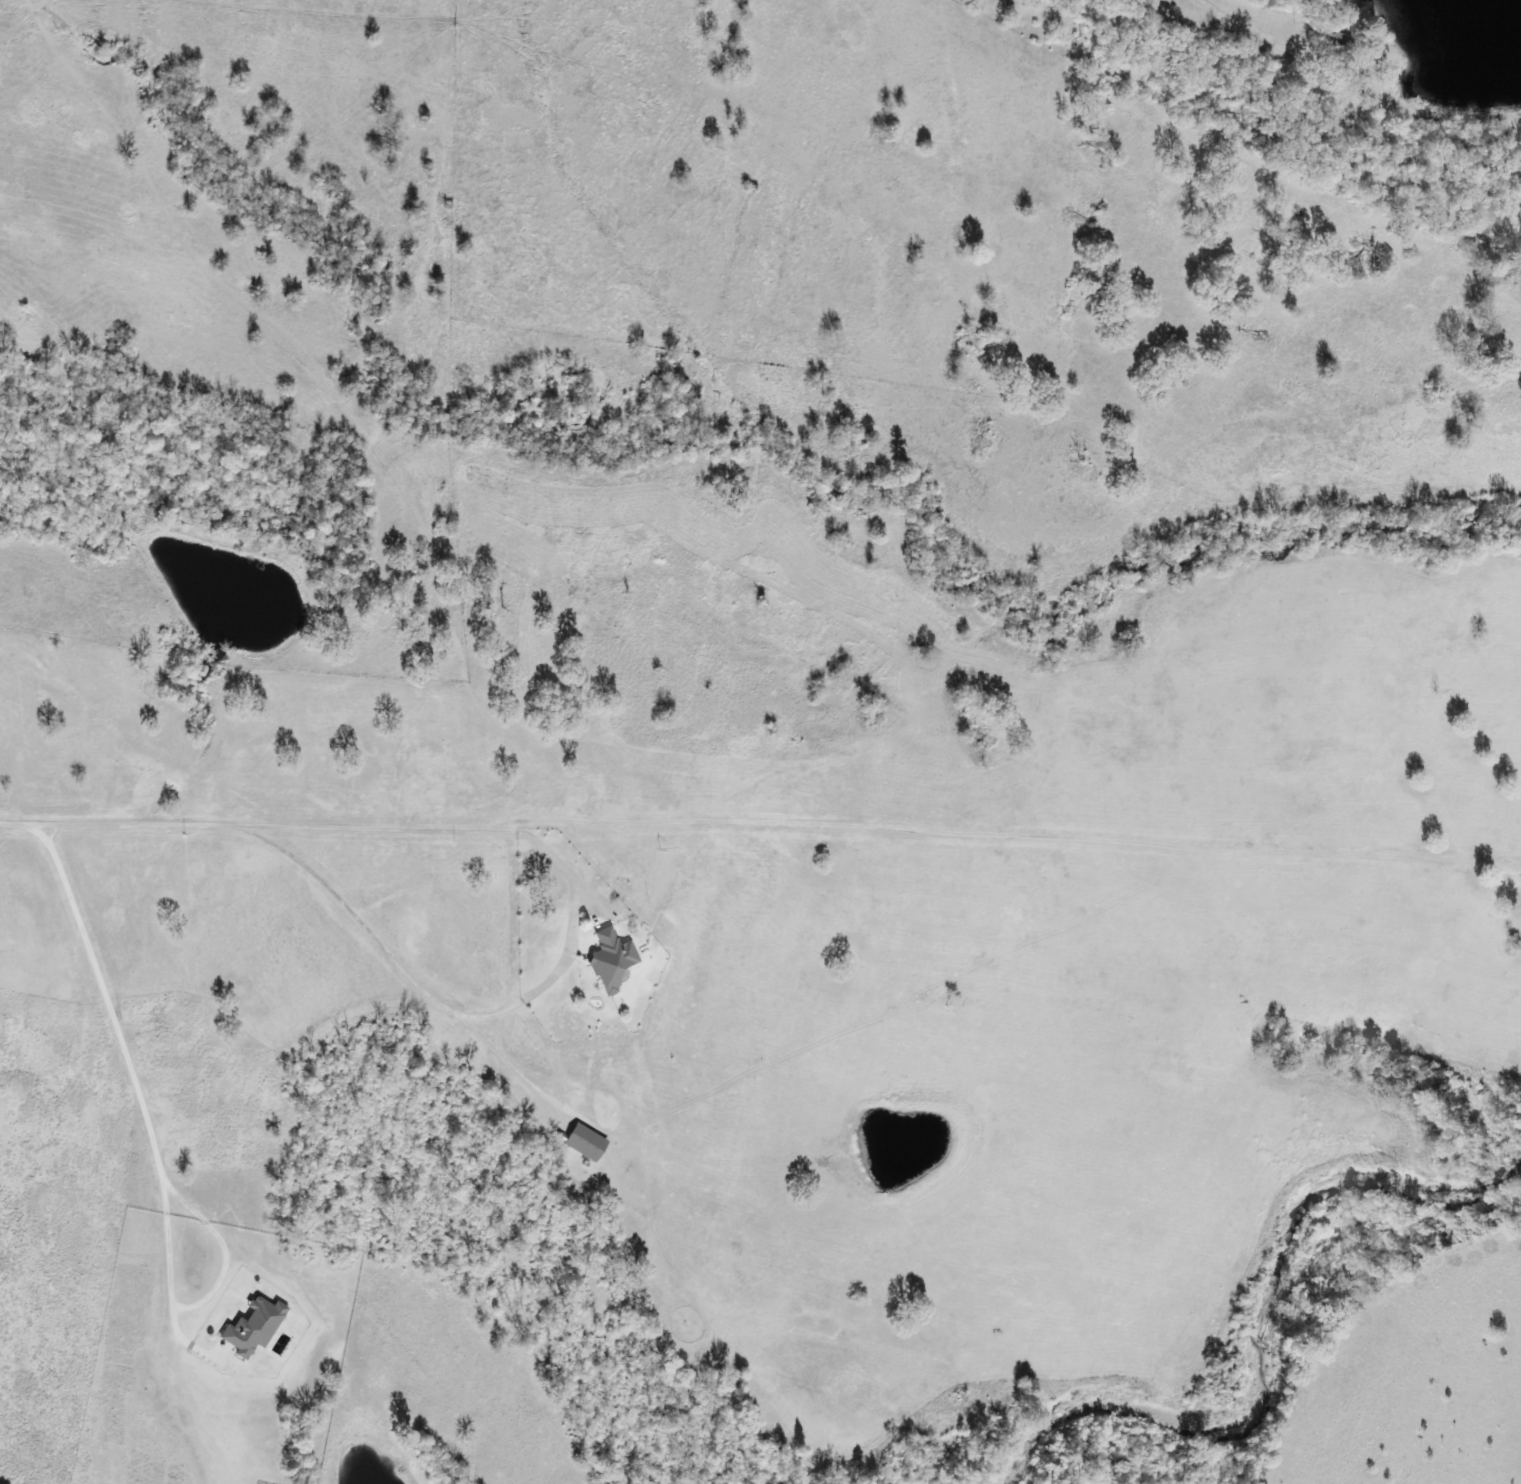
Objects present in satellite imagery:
building: (1338, 43)
road: (1341, 123)
road: (563, 868)
building: (610, 961)
road: (105, 975)
building: (584, 1144)
road: (207, 1302)

